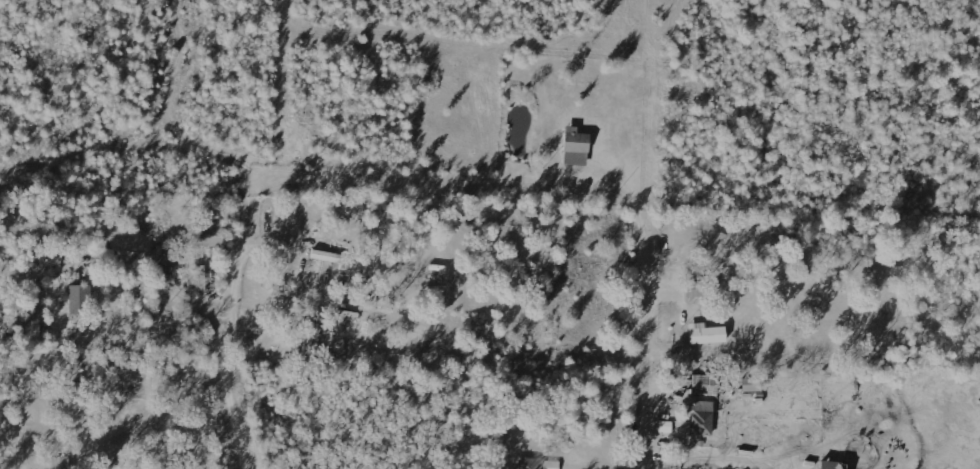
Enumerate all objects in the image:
building: (577, 146)
road: (387, 173)
building: (212, 234)
building: (81, 299)
building: (36, 332)
building: (707, 333)
road: (651, 380)
building: (705, 384)
building: (752, 384)
building: (703, 417)
road: (242, 430)
building: (62, 462)
building: (834, 465)

